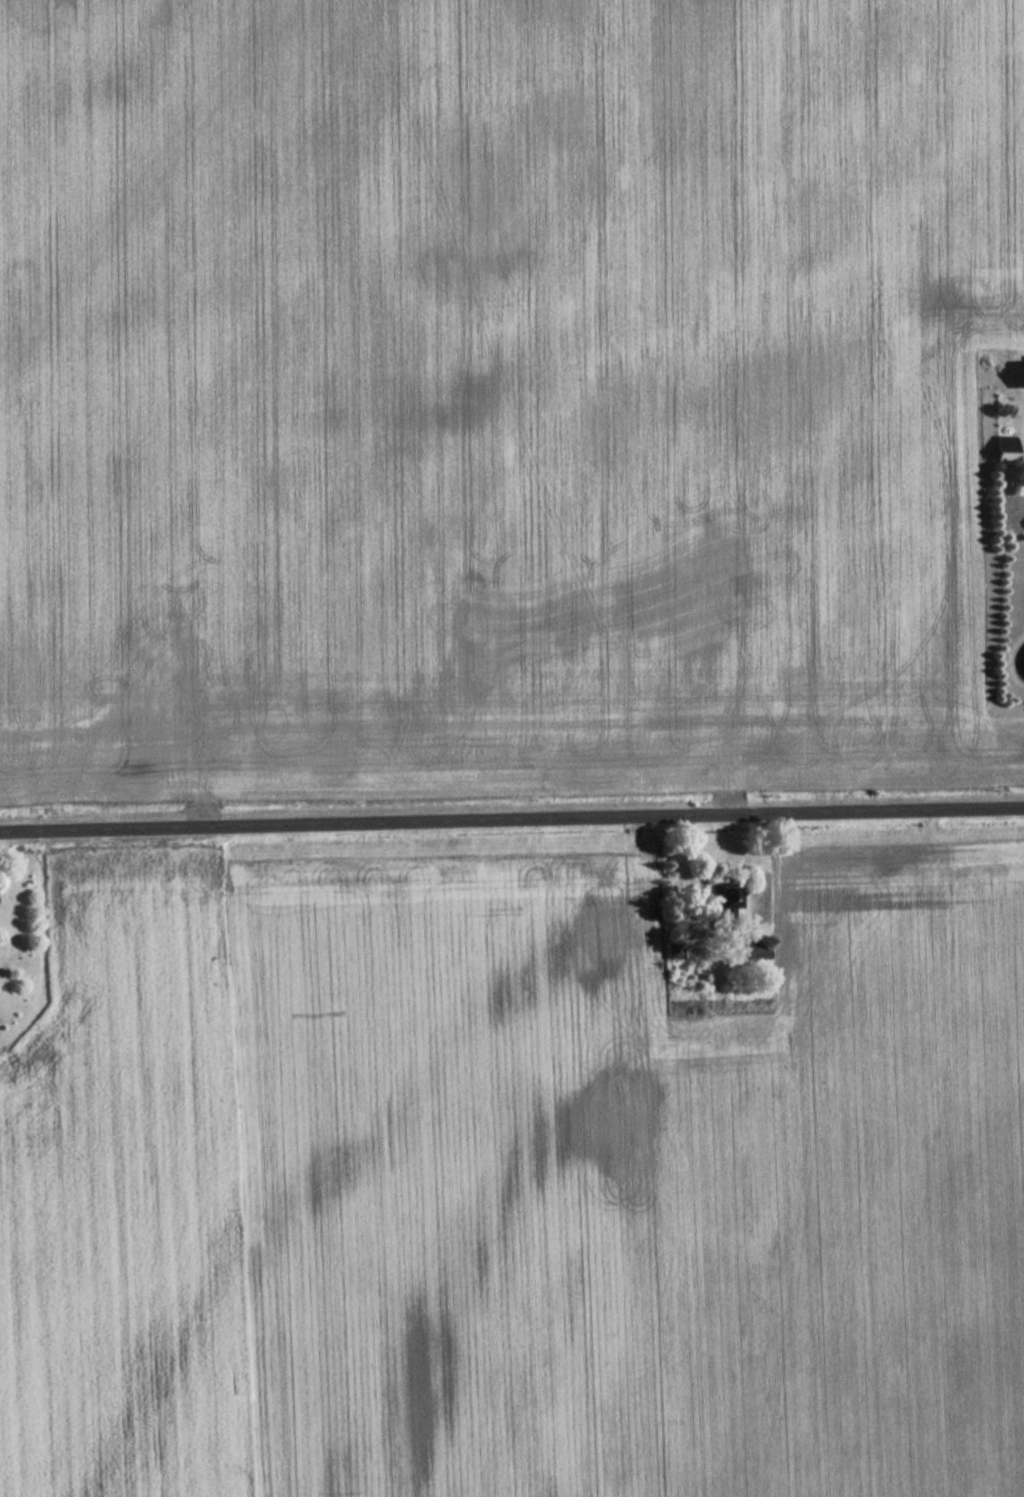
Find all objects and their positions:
building: (1021, 374)
crop: (497, 393)
road: (511, 814)
road: (687, 864)
crop: (515, 1184)

